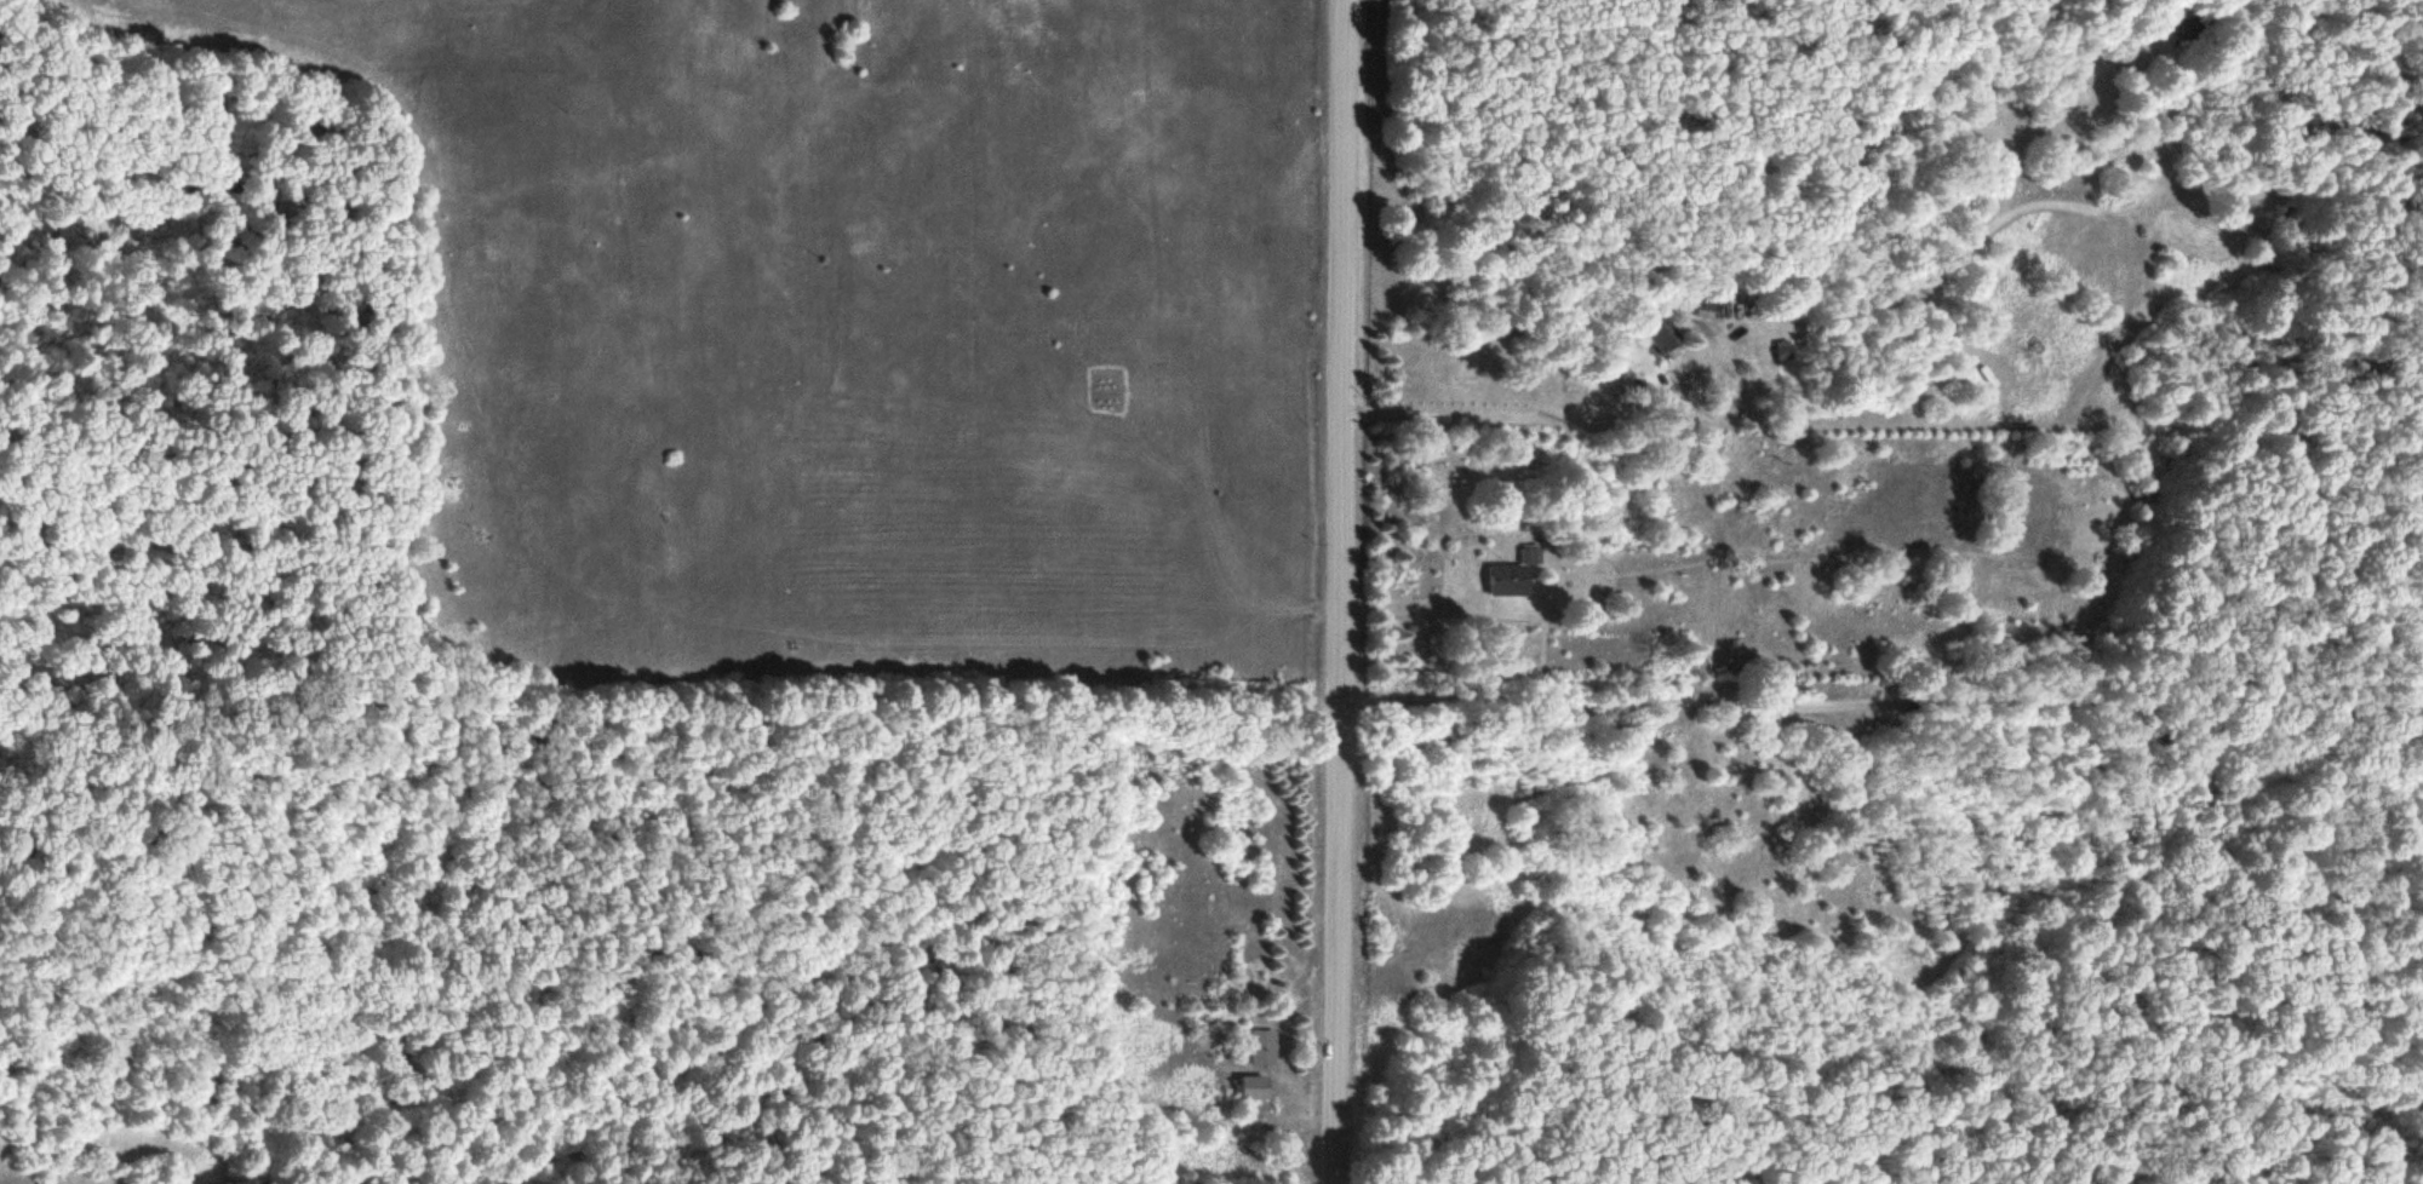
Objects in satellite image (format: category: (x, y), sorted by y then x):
building: (1511, 574)
road: (1344, 592)
road: (1883, 708)
building: (1259, 1048)
building: (1245, 1087)

